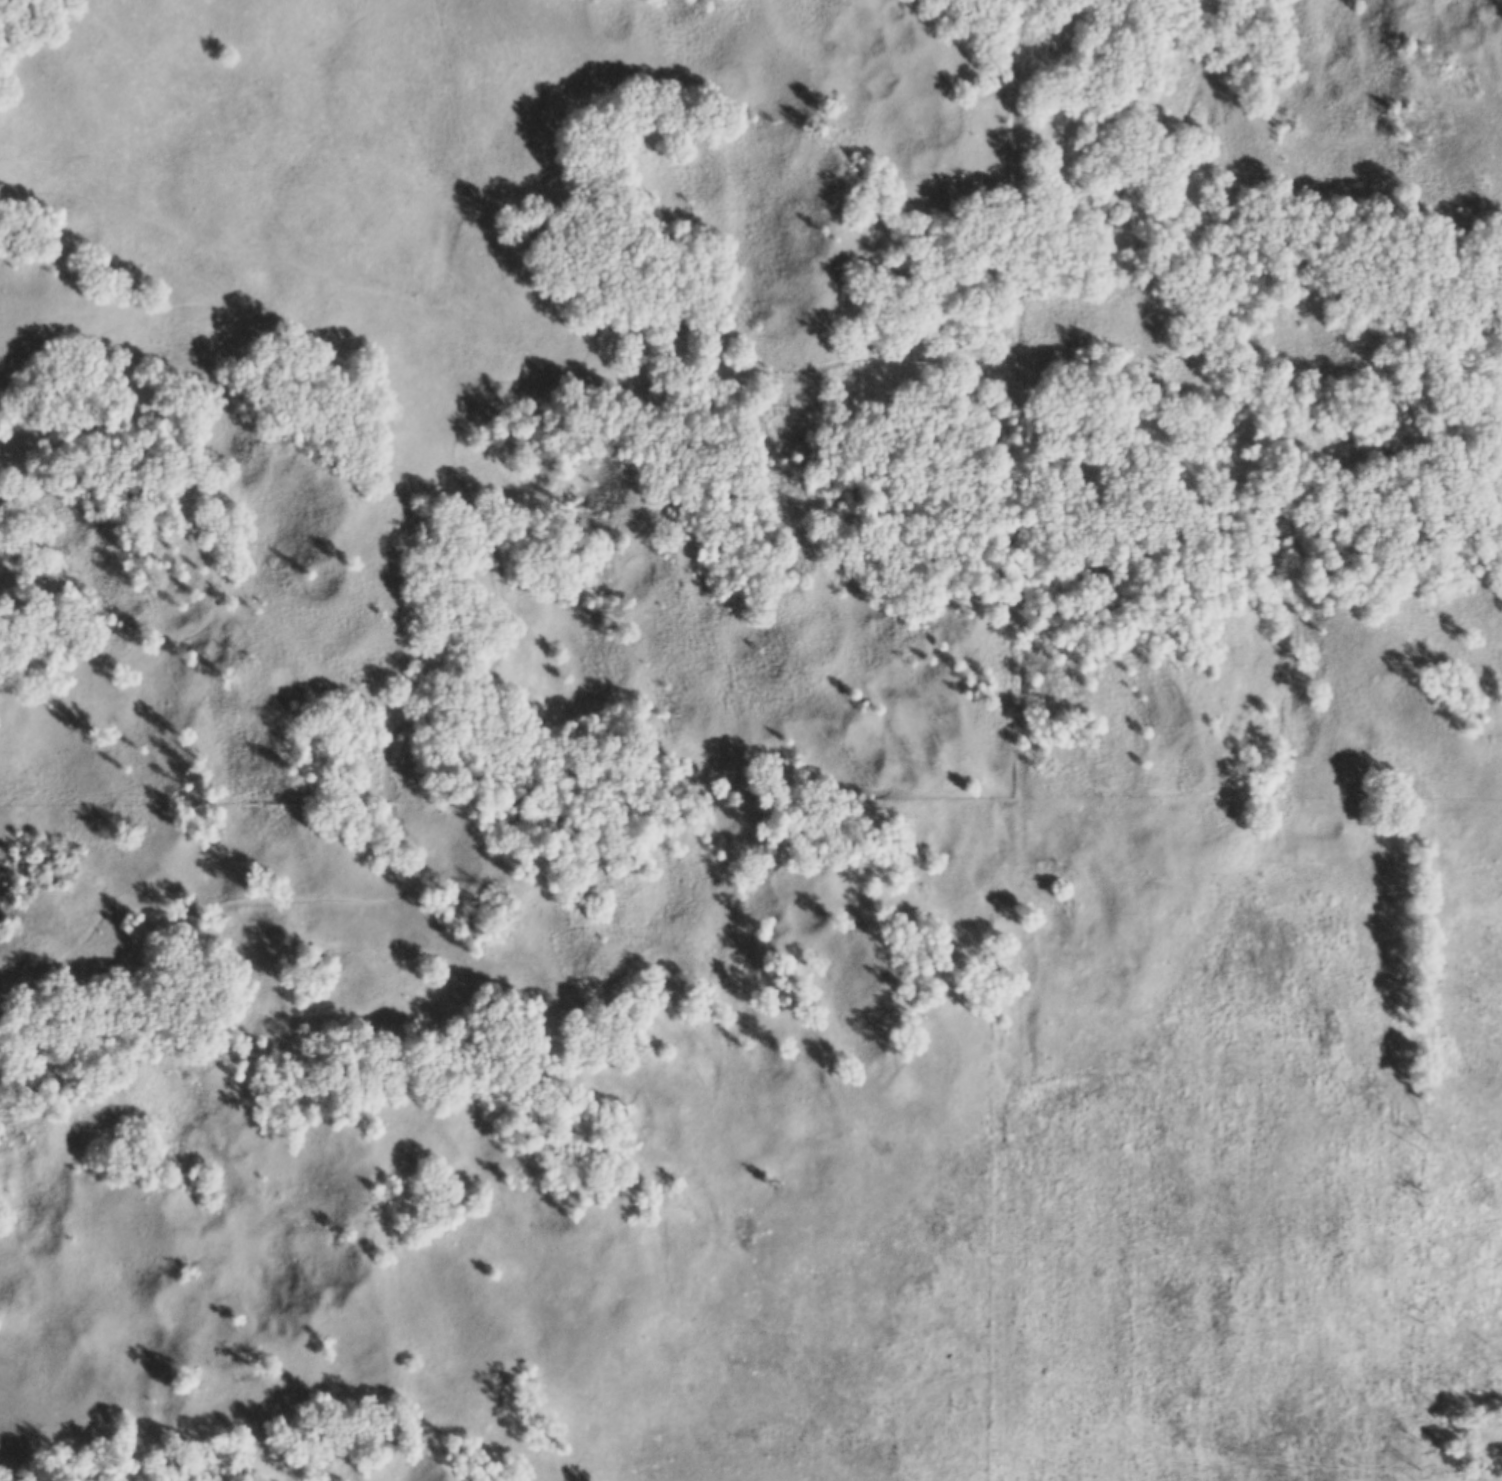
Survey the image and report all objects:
road: (453, 429)

